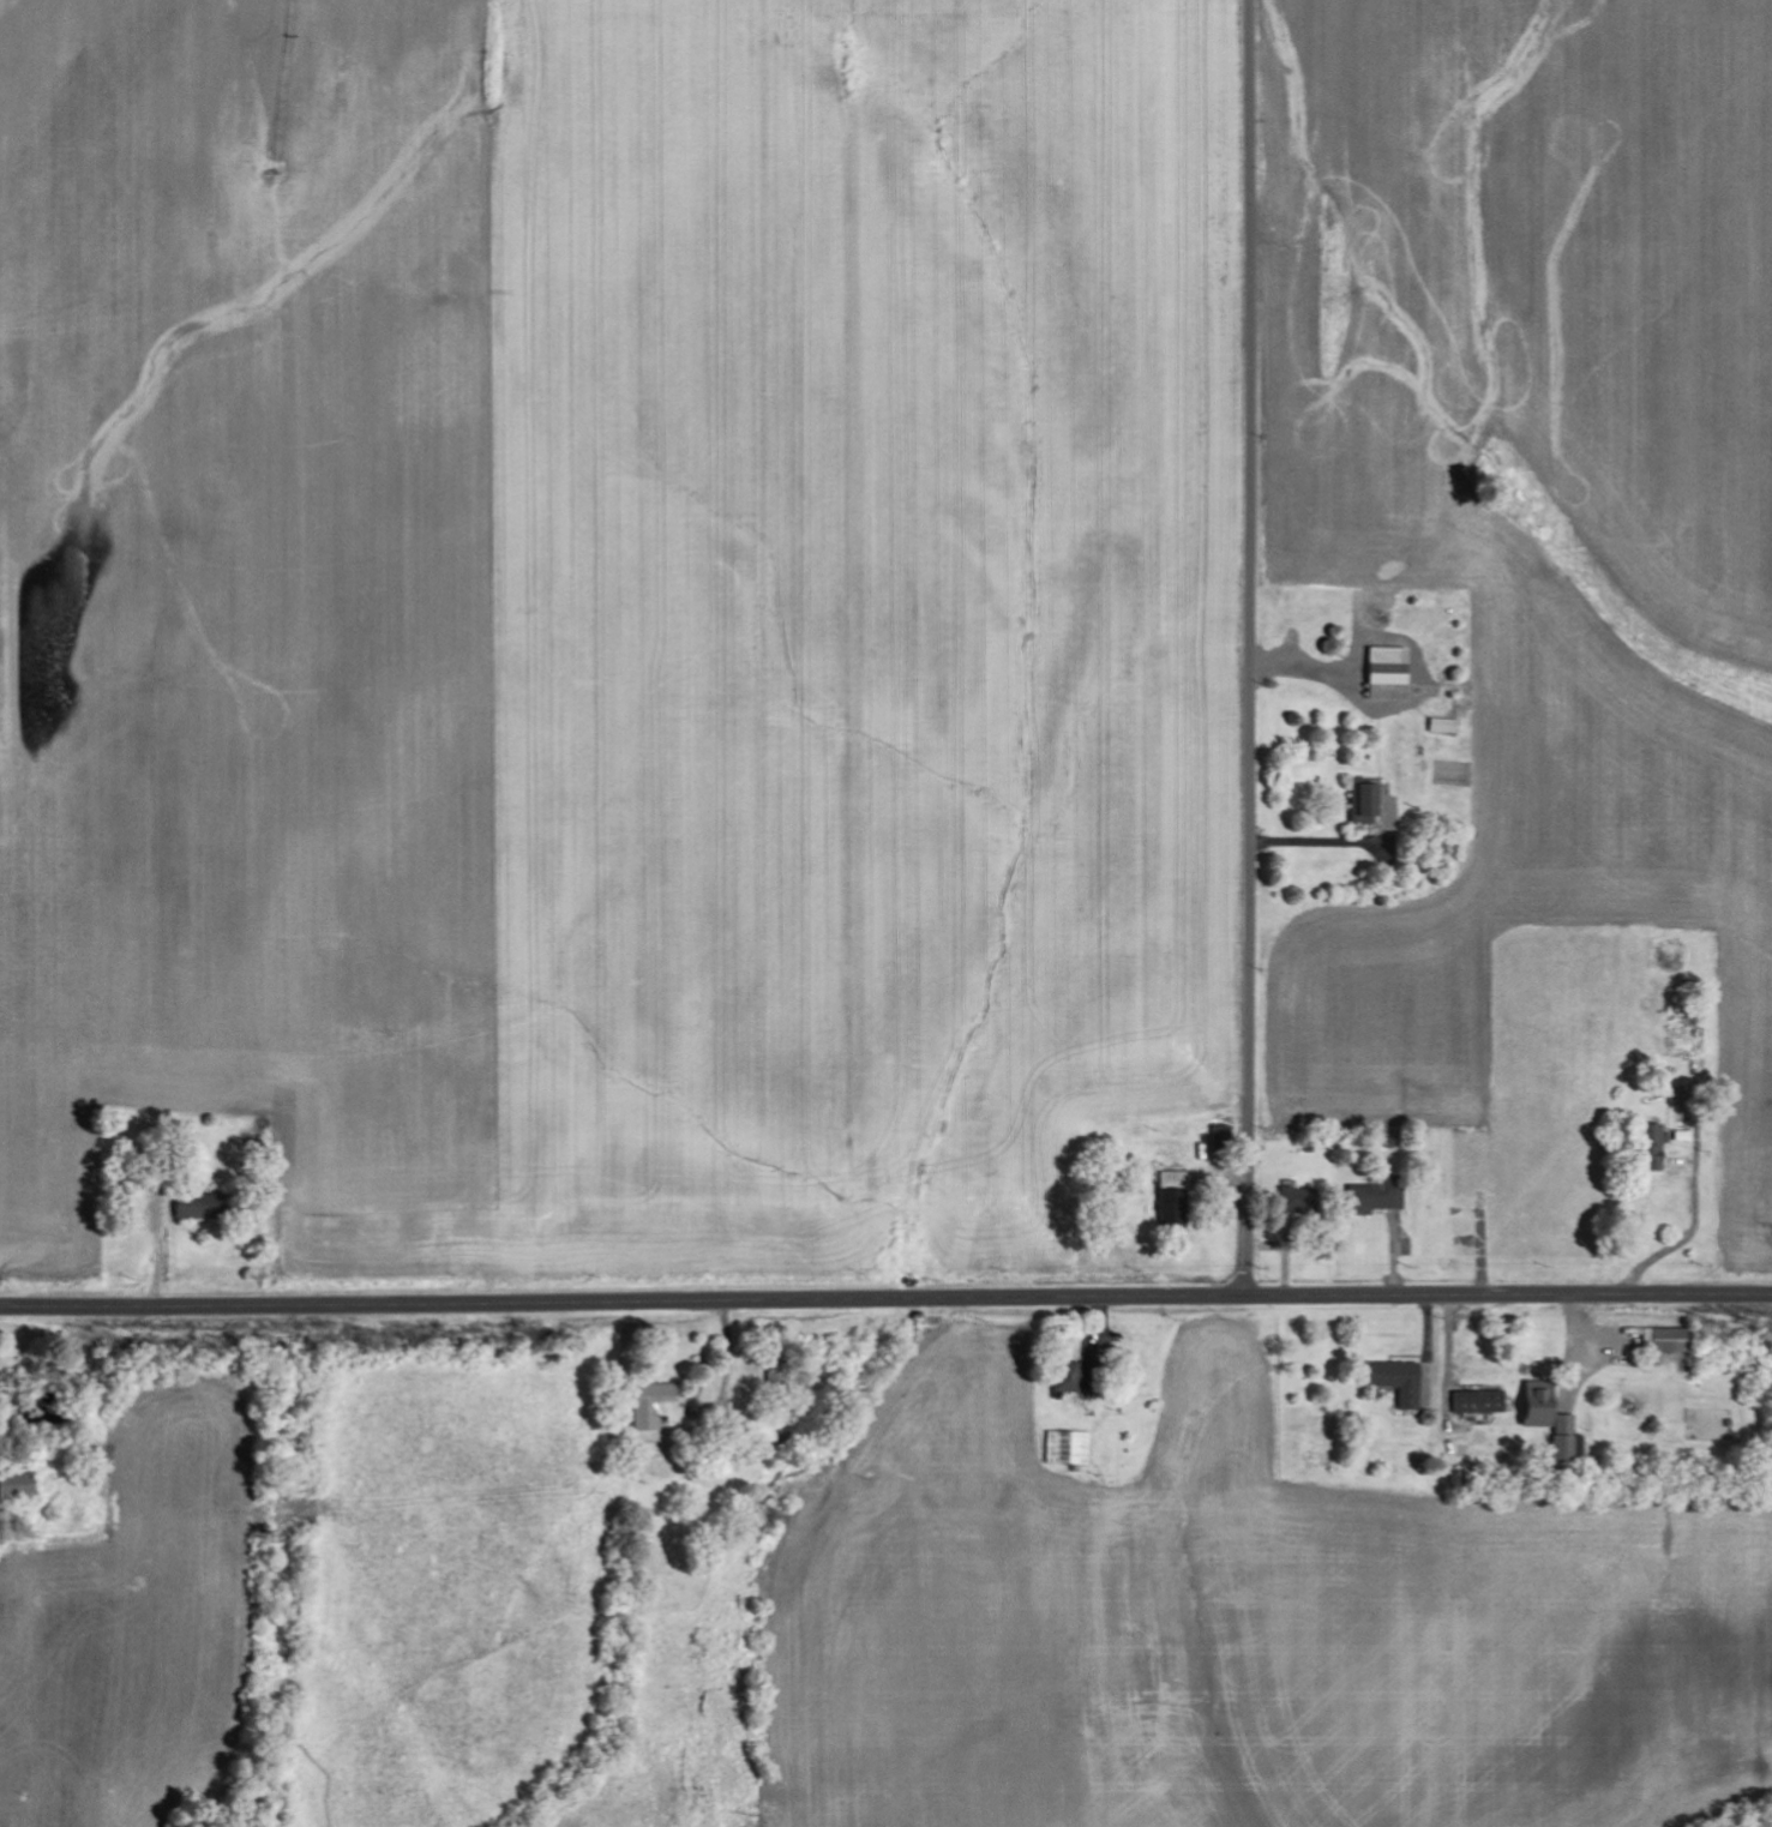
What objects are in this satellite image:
road: (1250, 647)
building: (1390, 675)
building: (1368, 807)
building: (1224, 1138)
building: (1659, 1138)
building: (1175, 1200)
road: (885, 1297)
building: (1672, 1341)
building: (1406, 1384)
building: (1483, 1404)
building: (661, 1412)
building: (1068, 1449)
building: (22, 1486)

